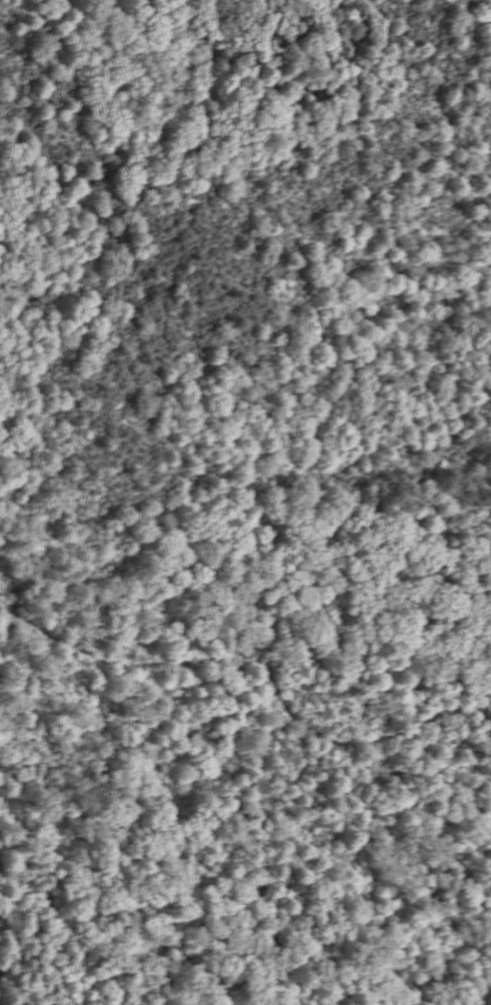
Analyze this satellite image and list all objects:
road: (255, 669)

